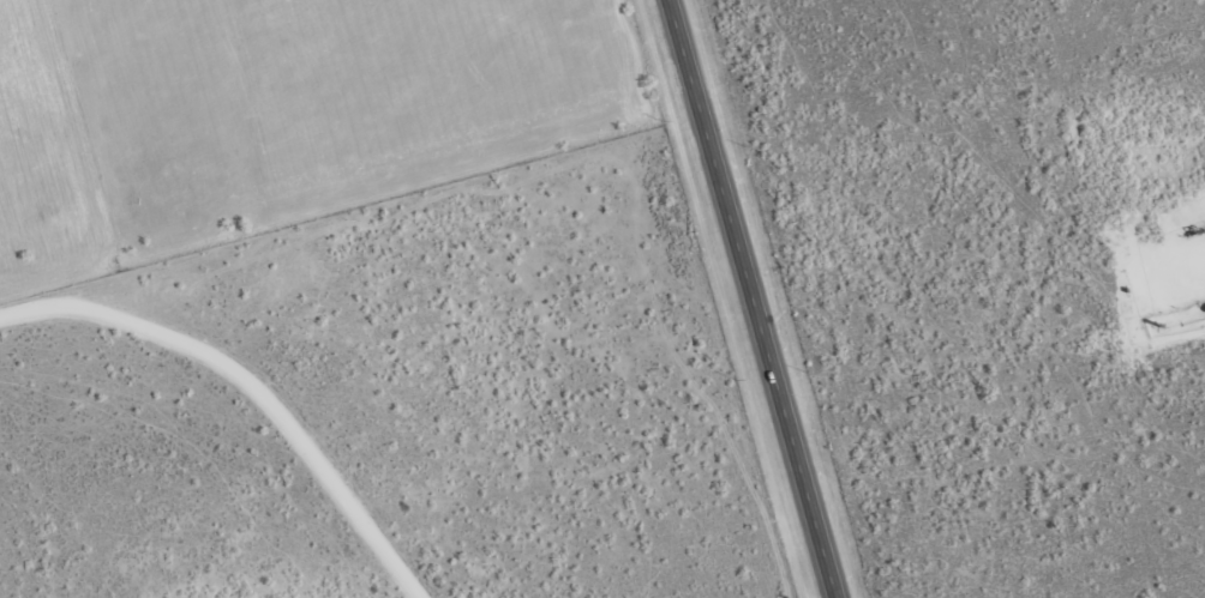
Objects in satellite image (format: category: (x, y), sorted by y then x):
road: (755, 298)

